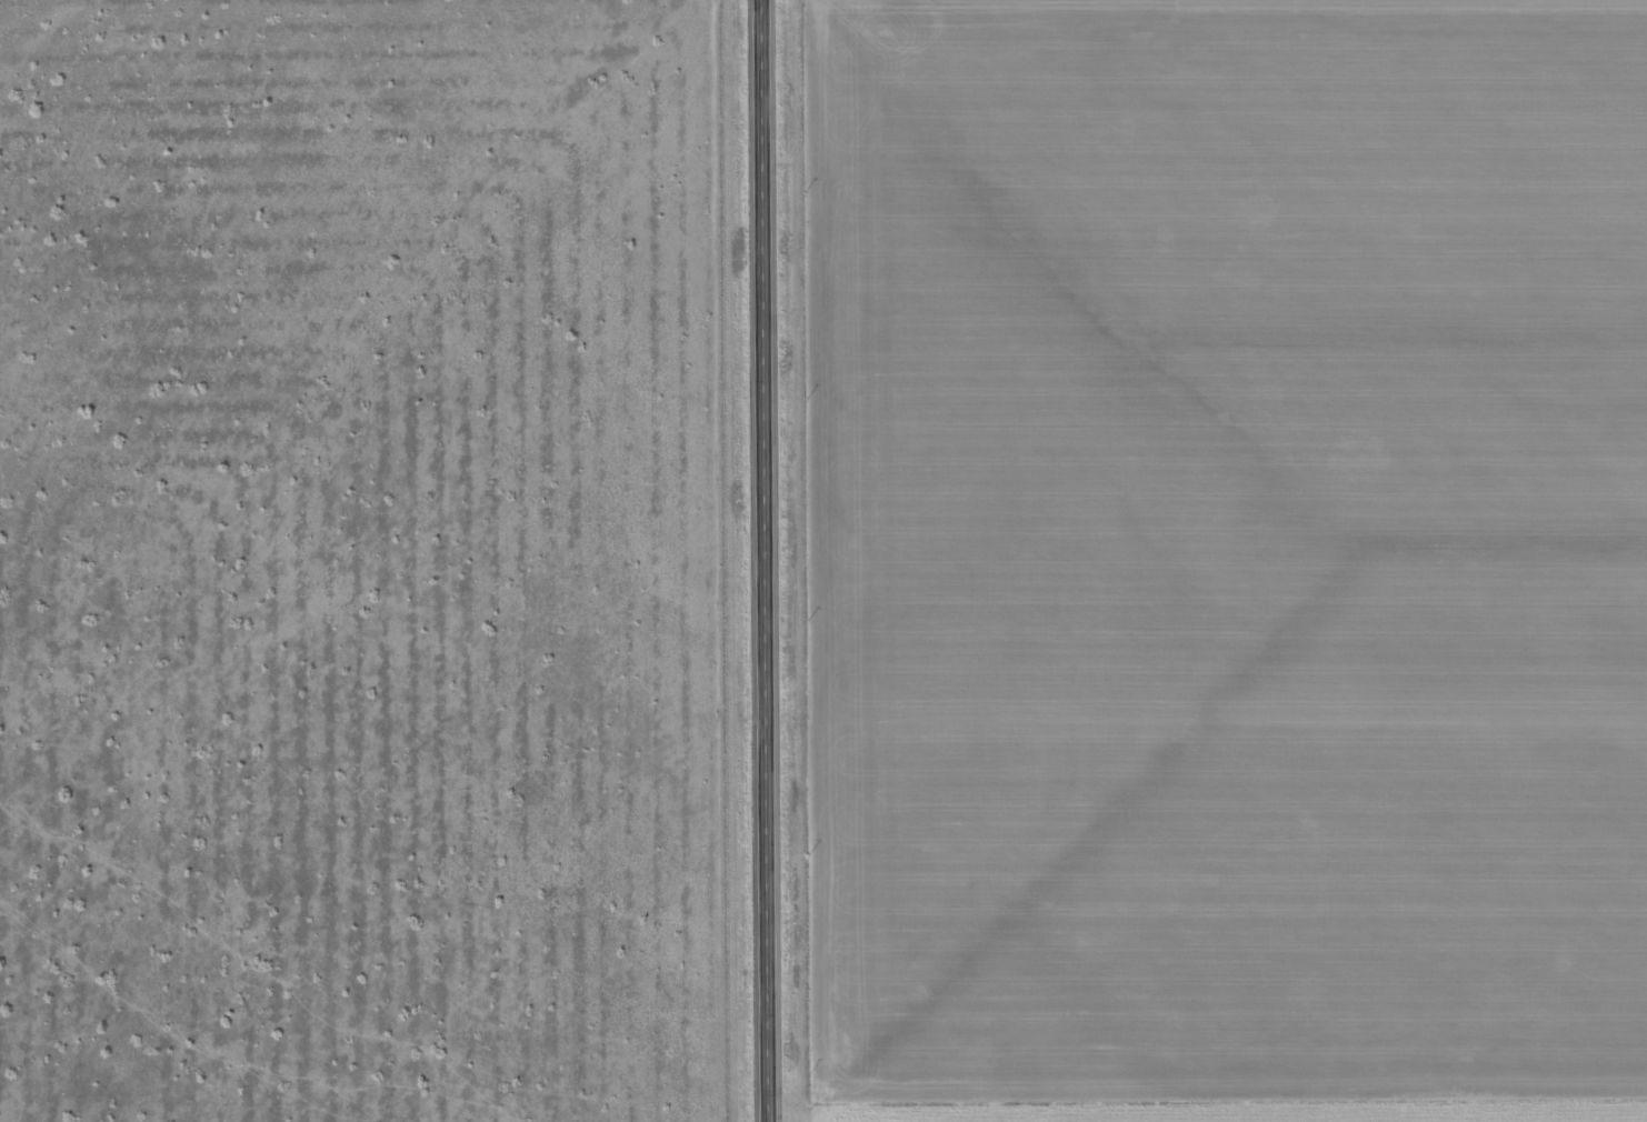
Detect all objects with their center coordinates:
road: (133, 14)
road: (1369, 19)
road: (761, 561)

